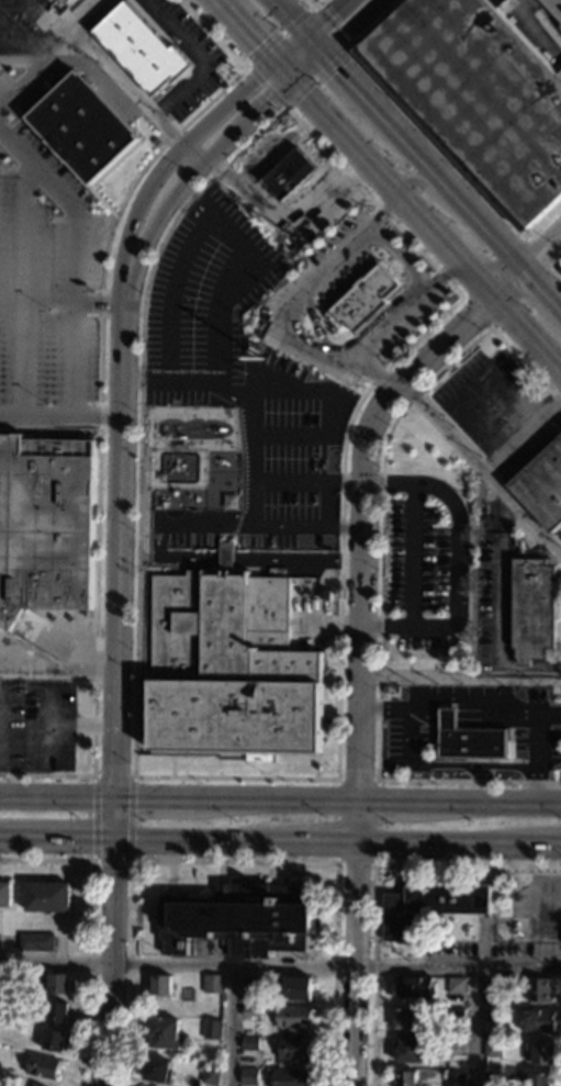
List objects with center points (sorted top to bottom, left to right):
building: (68, 0)
road: (345, 0)
building: (554, 5)
parking garage: (554, 5)
road: (313, 8)
road: (307, 13)
traffic signals: (329, 14)
road: (326, 15)
road: (292, 16)
road: (49, 22)
road: (354, 25)
road: (11, 31)
road: (245, 31)
road: (214, 34)
road: (316, 42)
traffic signals: (257, 44)
road: (66, 46)
road: (290, 47)
building: (139, 49)
road: (198, 59)
road: (308, 66)
traffic signals: (339, 68)
road: (282, 71)
road: (122, 81)
road: (352, 81)
building: (480, 93)
traffic signals: (270, 102)
road: (289, 103)
building: (81, 127)
road: (112, 130)
road: (429, 134)
road: (182, 148)
road: (263, 156)
road: (369, 163)
road: (204, 164)
road: (329, 168)
road: (125, 170)
building: (291, 173)
road: (96, 183)
road: (430, 189)
road: (452, 191)
road: (186, 195)
road: (74, 201)
road: (373, 201)
road: (383, 211)
parking lot: (58, 217)
road: (287, 227)
road: (24, 238)
building: (298, 248)
road: (543, 253)
road: (395, 257)
road: (552, 267)
road: (553, 268)
road: (469, 271)
building: (559, 271)
road: (440, 273)
road: (232, 278)
road: (123, 279)
road: (510, 284)
road: (542, 290)
road: (60, 299)
building: (356, 300)
building: (250, 335)
road: (305, 335)
road: (527, 335)
road: (427, 359)
road: (525, 367)
road: (372, 372)
road: (131, 377)
road: (178, 377)
road: (229, 390)
road: (99, 395)
road: (138, 414)
road: (324, 414)
road: (59, 416)
road: (248, 417)
road: (48, 429)
road: (520, 433)
road: (251, 458)
road: (480, 469)
road: (295, 482)
road: (351, 482)
building: (541, 485)
road: (324, 502)
road: (340, 514)
road: (276, 522)
road: (350, 523)
building: (44, 526)
road: (380, 531)
road: (117, 549)
road: (412, 553)
road: (193, 557)
building: (225, 559)
road: (457, 560)
building: (311, 582)
building: (300, 592)
building: (530, 609)
road: (496, 611)
road: (359, 613)
road: (58, 671)
building: (229, 671)
road: (459, 680)
building: (471, 746)
road: (46, 774)
road: (112, 775)
road: (234, 776)
road: (469, 780)
road: (57, 796)
road: (153, 798)
road: (272, 798)
road: (384, 799)
road: (486, 800)
road: (92, 817)
road: (132, 818)
road: (114, 819)
road: (355, 821)
road: (1, 837)
road: (57, 839)
road: (202, 841)
road: (323, 842)
road: (445, 843)
road: (548, 846)
road: (111, 860)
road: (231, 861)
road: (373, 861)
road: (372, 881)
building: (4, 894)
building: (47, 897)
building: (429, 906)
building: (239, 919)
road: (90, 927)
building: (559, 939)
building: (34, 942)
building: (224, 942)
road: (111, 963)
road: (280, 964)
road: (354, 964)
building: (57, 984)
building: (212, 984)
building: (160, 985)
building: (249, 985)
building: (456, 986)
building: (413, 987)
building: (296, 988)
building: (538, 989)
building: (492, 990)
building: (249, 1011)
building: (56, 1012)
building: (456, 1016)
building: (493, 1016)
building: (293, 1017)
building: (406, 1019)
building: (537, 1021)
road: (232, 1025)
road: (476, 1027)
building: (211, 1030)
building: (162, 1033)
building: (53, 1040)
building: (249, 1043)
building: (455, 1048)
building: (292, 1049)
building: (492, 1049)
building: (409, 1051)
building: (542, 1054)
building: (42, 1067)
building: (156, 1070)
building: (210, 1076)
building: (247, 1076)
building: (289, 1077)
building: (492, 1077)
building: (10, 1078)
building: (404, 1078)
building: (455, 1079)
building: (539, 1079)
building: (34, 1085)

